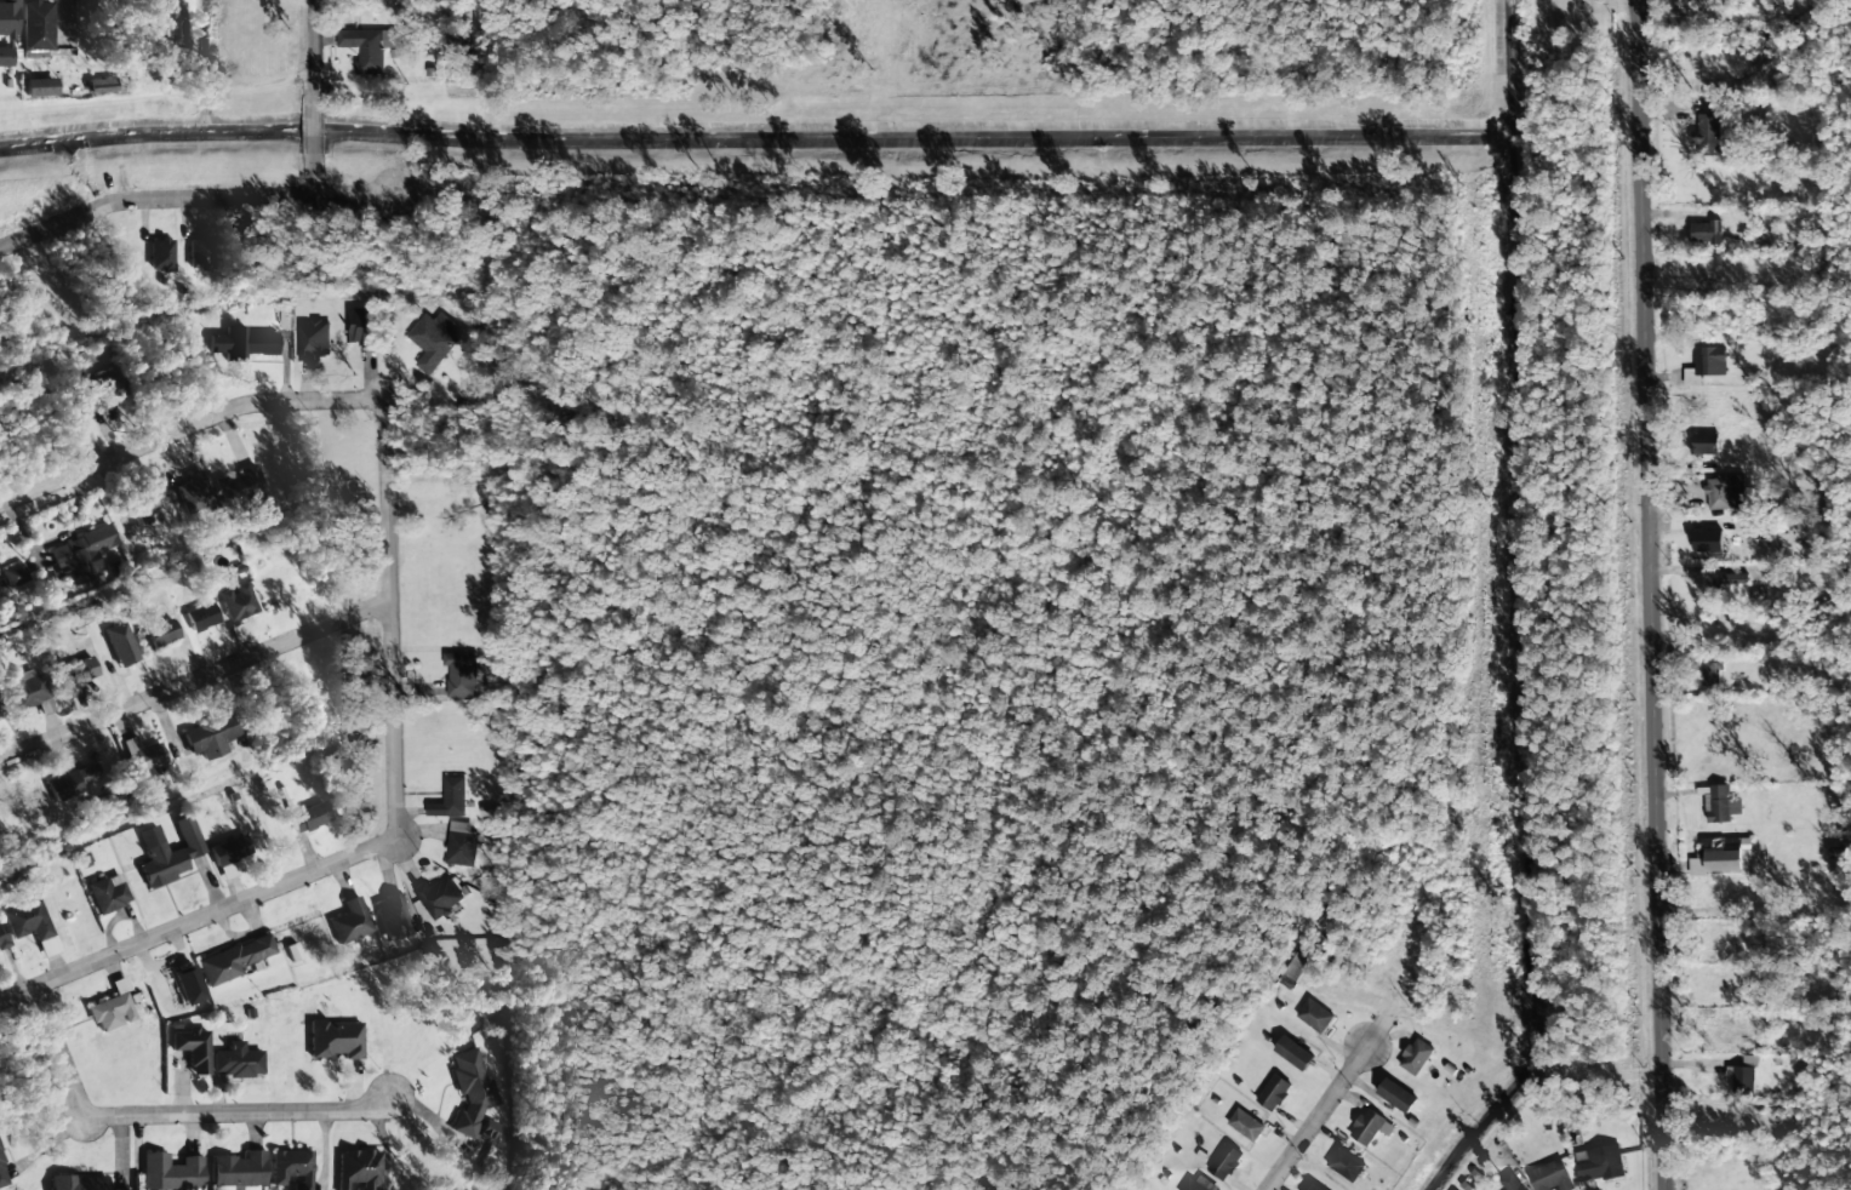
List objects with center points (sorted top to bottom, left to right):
building: (7, 29)
building: (36, 29)
building: (172, 29)
building: (370, 47)
road: (312, 50)
building: (39, 87)
road: (312, 126)
building: (1707, 135)
road: (312, 173)
road: (190, 196)
building: (1704, 233)
building: (161, 253)
building: (199, 253)
building: (361, 326)
building: (313, 341)
building: (432, 341)
building: (242, 343)
building: (1712, 361)
building: (93, 394)
road: (187, 427)
building: (1706, 444)
building: (240, 487)
building: (1724, 492)
building: (193, 493)
building: (1707, 542)
building: (81, 555)
building: (15, 574)
building: (1732, 590)
road: (1647, 595)
building: (236, 602)
building: (201, 618)
road: (390, 618)
building: (161, 633)
building: (120, 645)
building: (81, 669)
building: (1713, 671)
building: (461, 674)
road: (195, 680)
building: (29, 688)
building: (211, 736)
building: (142, 759)
building: (72, 783)
building: (450, 800)
building: (1721, 805)
building: (309, 818)
building: (461, 845)
building: (229, 851)
building: (168, 852)
building: (1725, 860)
building: (228, 871)
building: (108, 893)
building: (439, 898)
building: (392, 917)
road: (198, 920)
building: (27, 921)
building: (350, 921)
building: (2, 938)
building: (233, 960)
building: (1290, 971)
building: (187, 985)
building: (110, 1012)
building: (1314, 1015)
building: (335, 1041)
building: (193, 1048)
building: (1292, 1053)
building: (1416, 1057)
building: (236, 1062)
building: (1741, 1079)
building: (472, 1091)
building: (1274, 1093)
building: (1396, 1095)
road: (178, 1114)
road: (1314, 1114)
building: (1245, 1125)
building: (1370, 1127)
building: (1224, 1162)
building: (1599, 1163)
building: (1346, 1165)
building: (291, 1168)
building: (359, 1168)
building: (239, 1169)
building: (171, 1172)
building: (2, 1174)
building: (1550, 1177)
building: (1512, 1182)
building: (79, 1183)
building: (1198, 1184)
building: (1325, 1184)
building: (127, 1189)
building: (1310, 1189)

